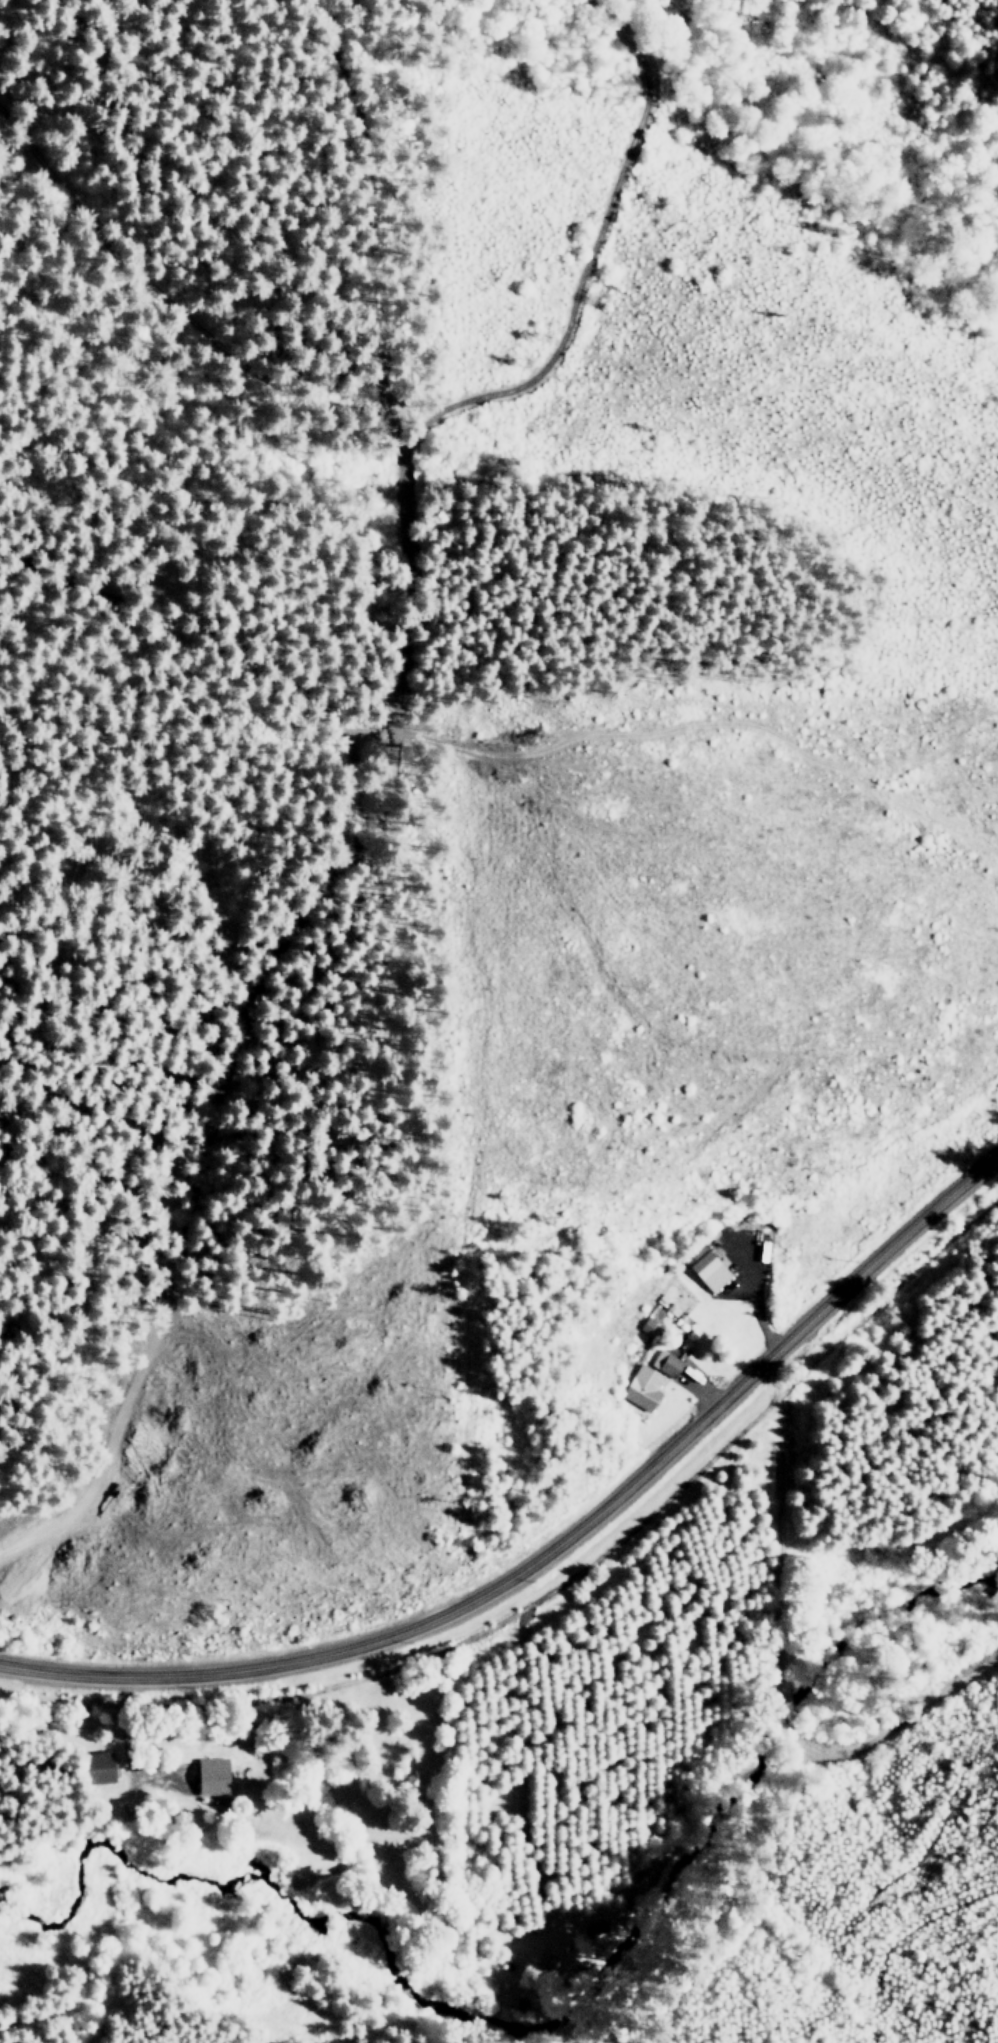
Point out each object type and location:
building: (706, 1268)
building: (666, 1363)
building: (642, 1387)
road: (556, 1542)
railway: (556, 1583)
building: (99, 1768)
building: (213, 1778)

